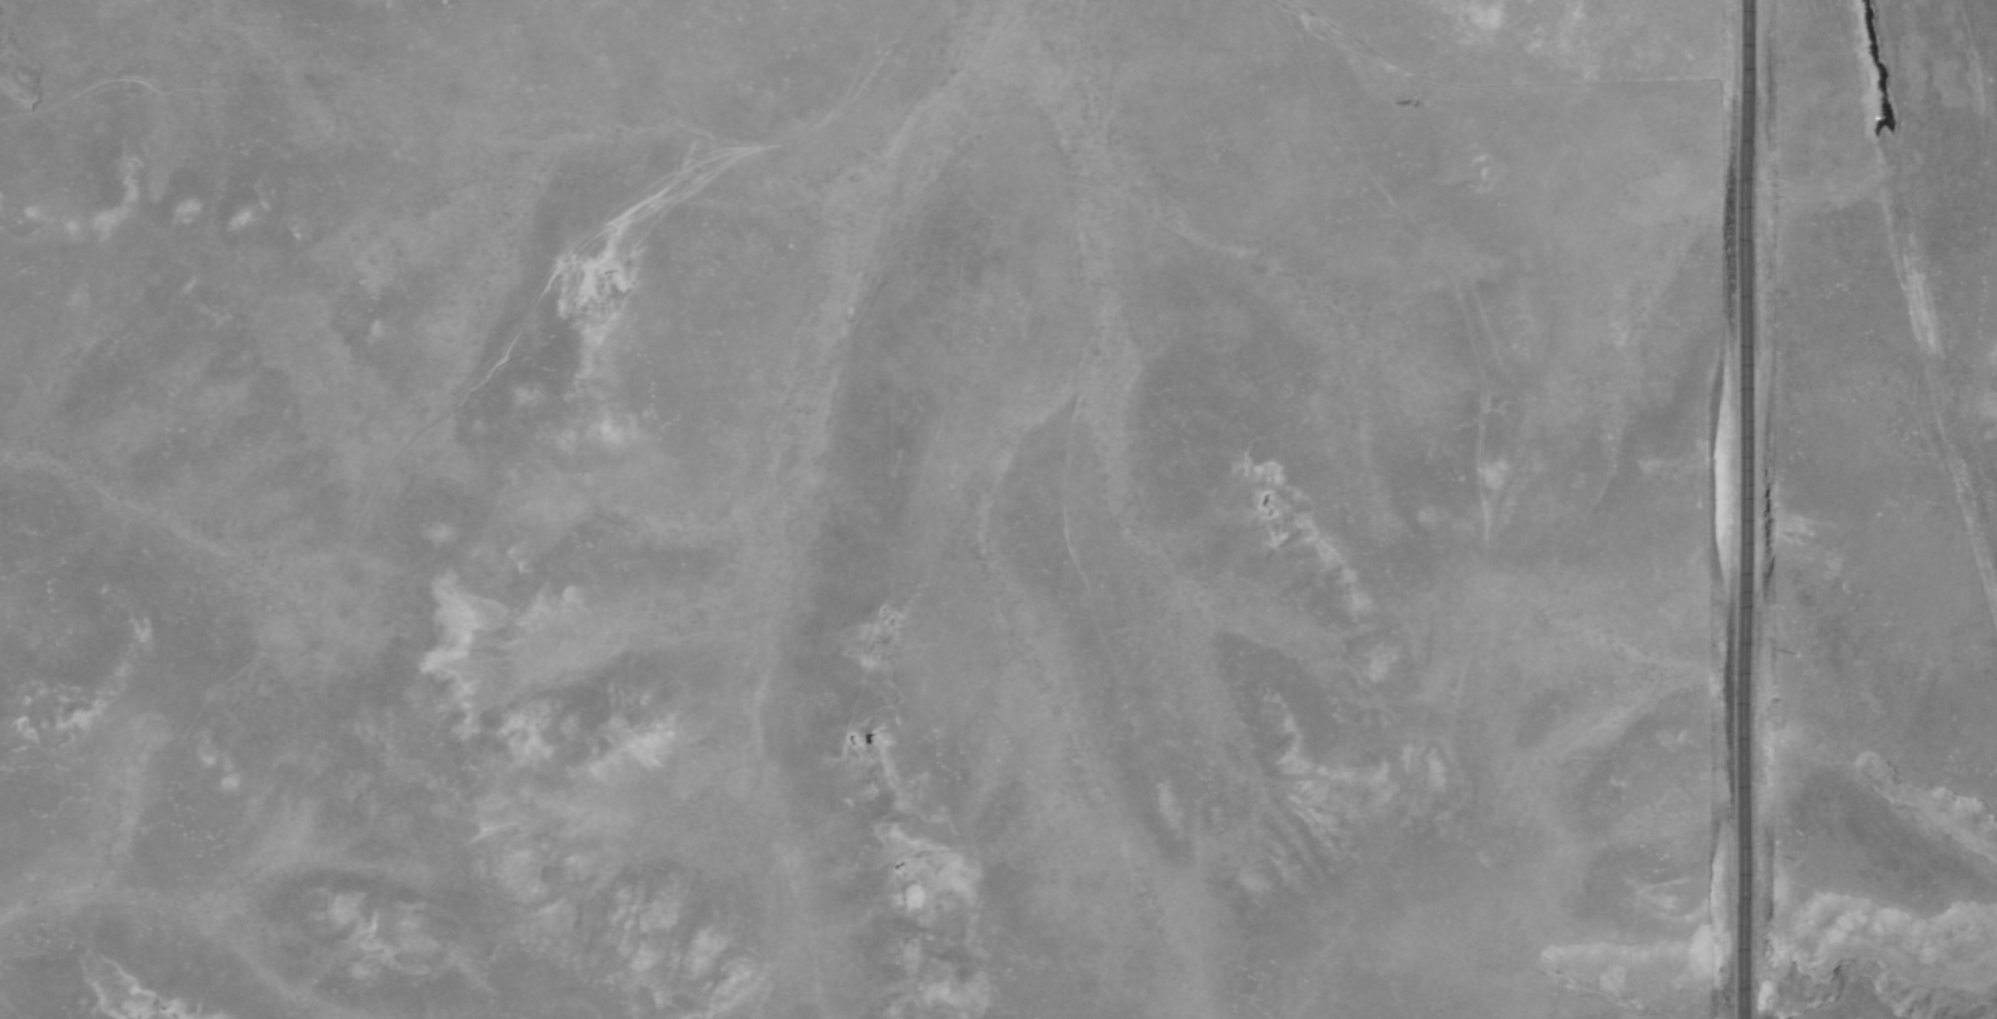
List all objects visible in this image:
road: (1746, 509)

